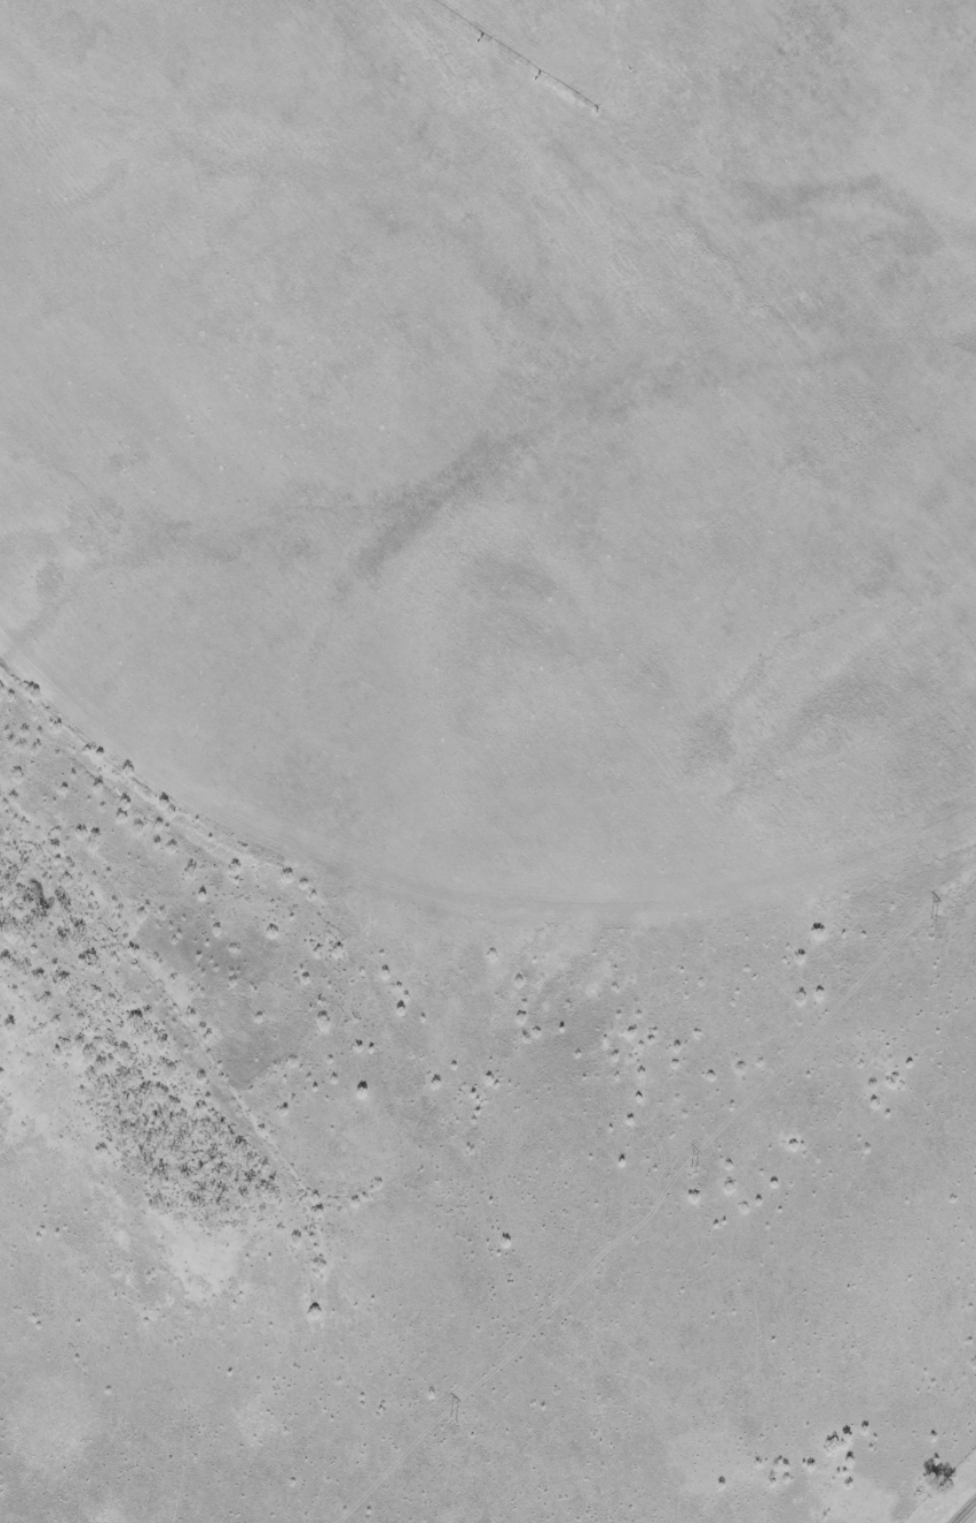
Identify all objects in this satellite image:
power tower: (932, 923)
power tower: (692, 1171)
power tower: (452, 1420)
road: (969, 1516)

